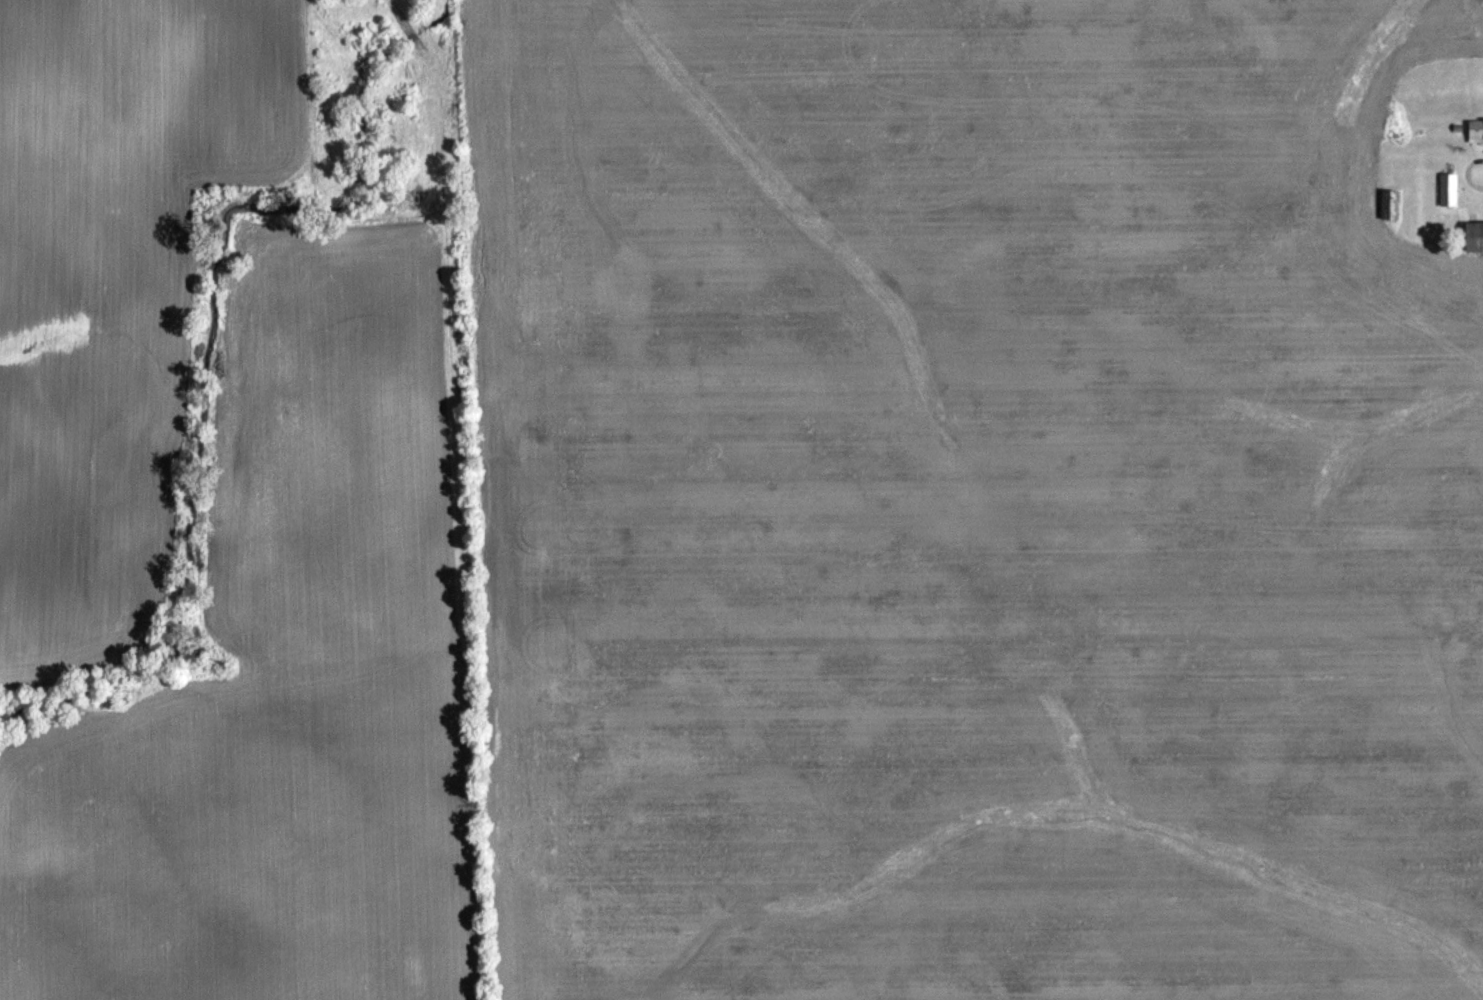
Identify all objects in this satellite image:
building: (1476, 129)
road: (1465, 172)
building: (1448, 189)
building: (1390, 204)
building: (1475, 236)

